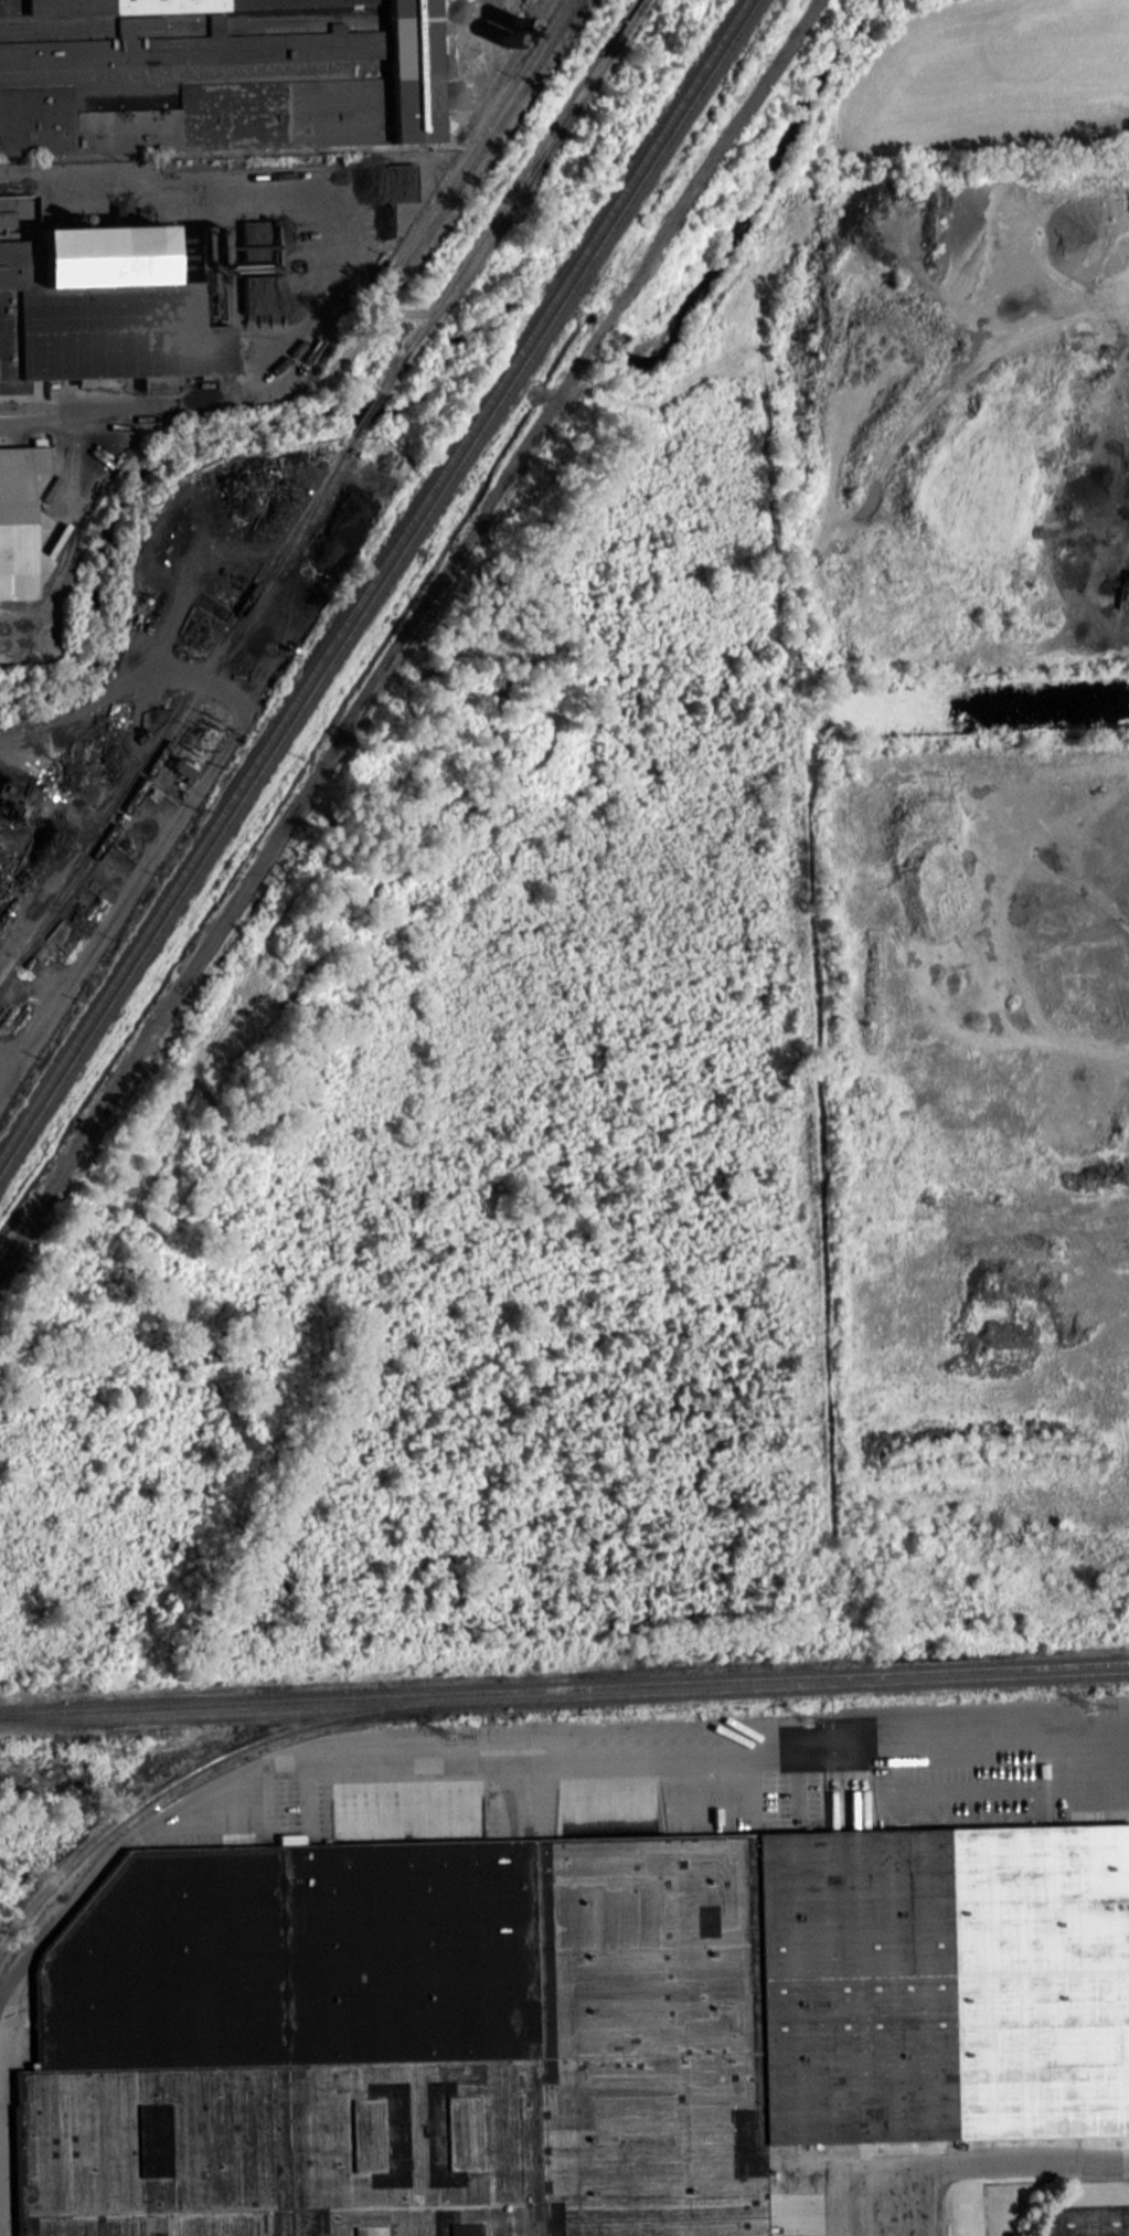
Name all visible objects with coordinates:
railway: (505, 64)
building: (211, 73)
crop: (997, 81)
railway: (480, 127)
railway: (490, 133)
railway: (528, 181)
railway: (313, 490)
building: (20, 523)
railway: (371, 576)
railway: (376, 586)
railway: (75, 835)
railway: (752, 1678)
railway: (564, 1697)
railway: (187, 1704)
power tower: (1090, 1707)
power tower: (805, 1721)
power tower: (447, 1738)
road: (518, 1750)
power tower: (104, 1755)
railway: (170, 1785)
building: (557, 2025)
road: (982, 2162)
road: (1088, 2215)

